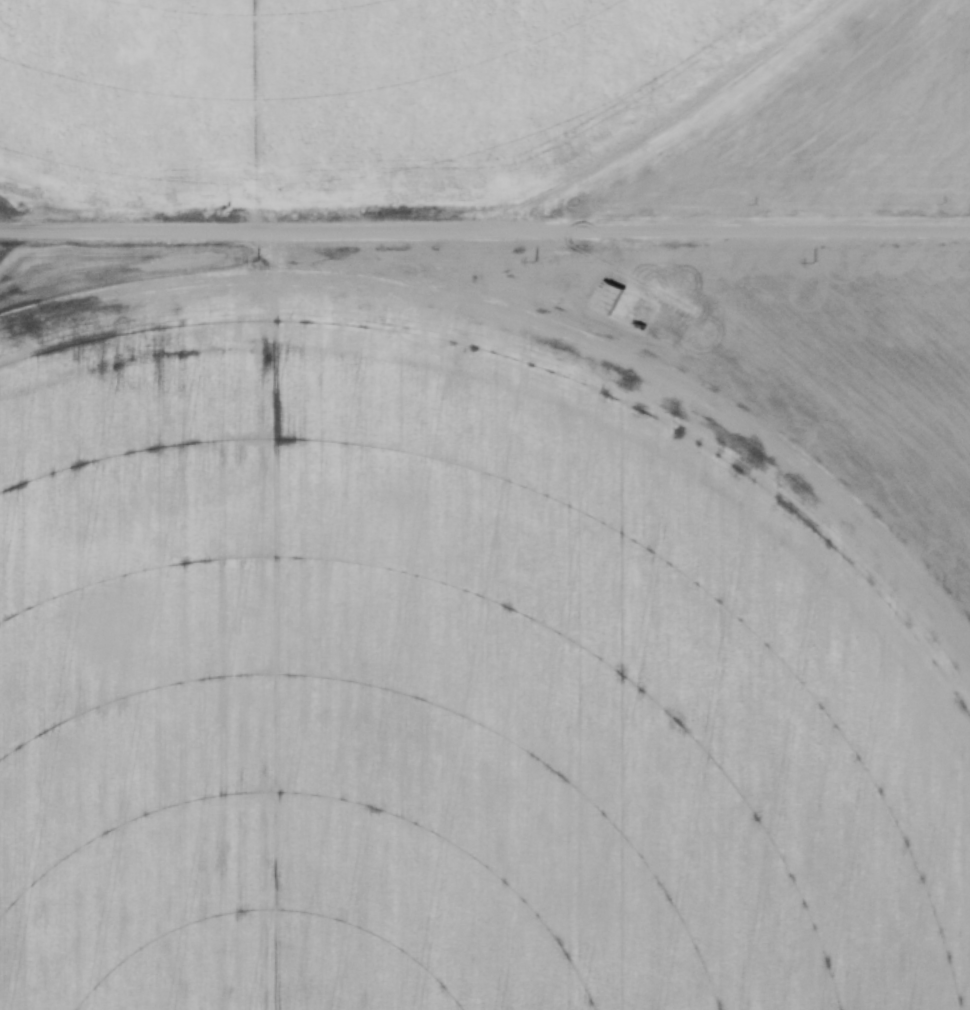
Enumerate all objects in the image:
crop: (346, 92)
road: (485, 232)
crop: (487, 632)

